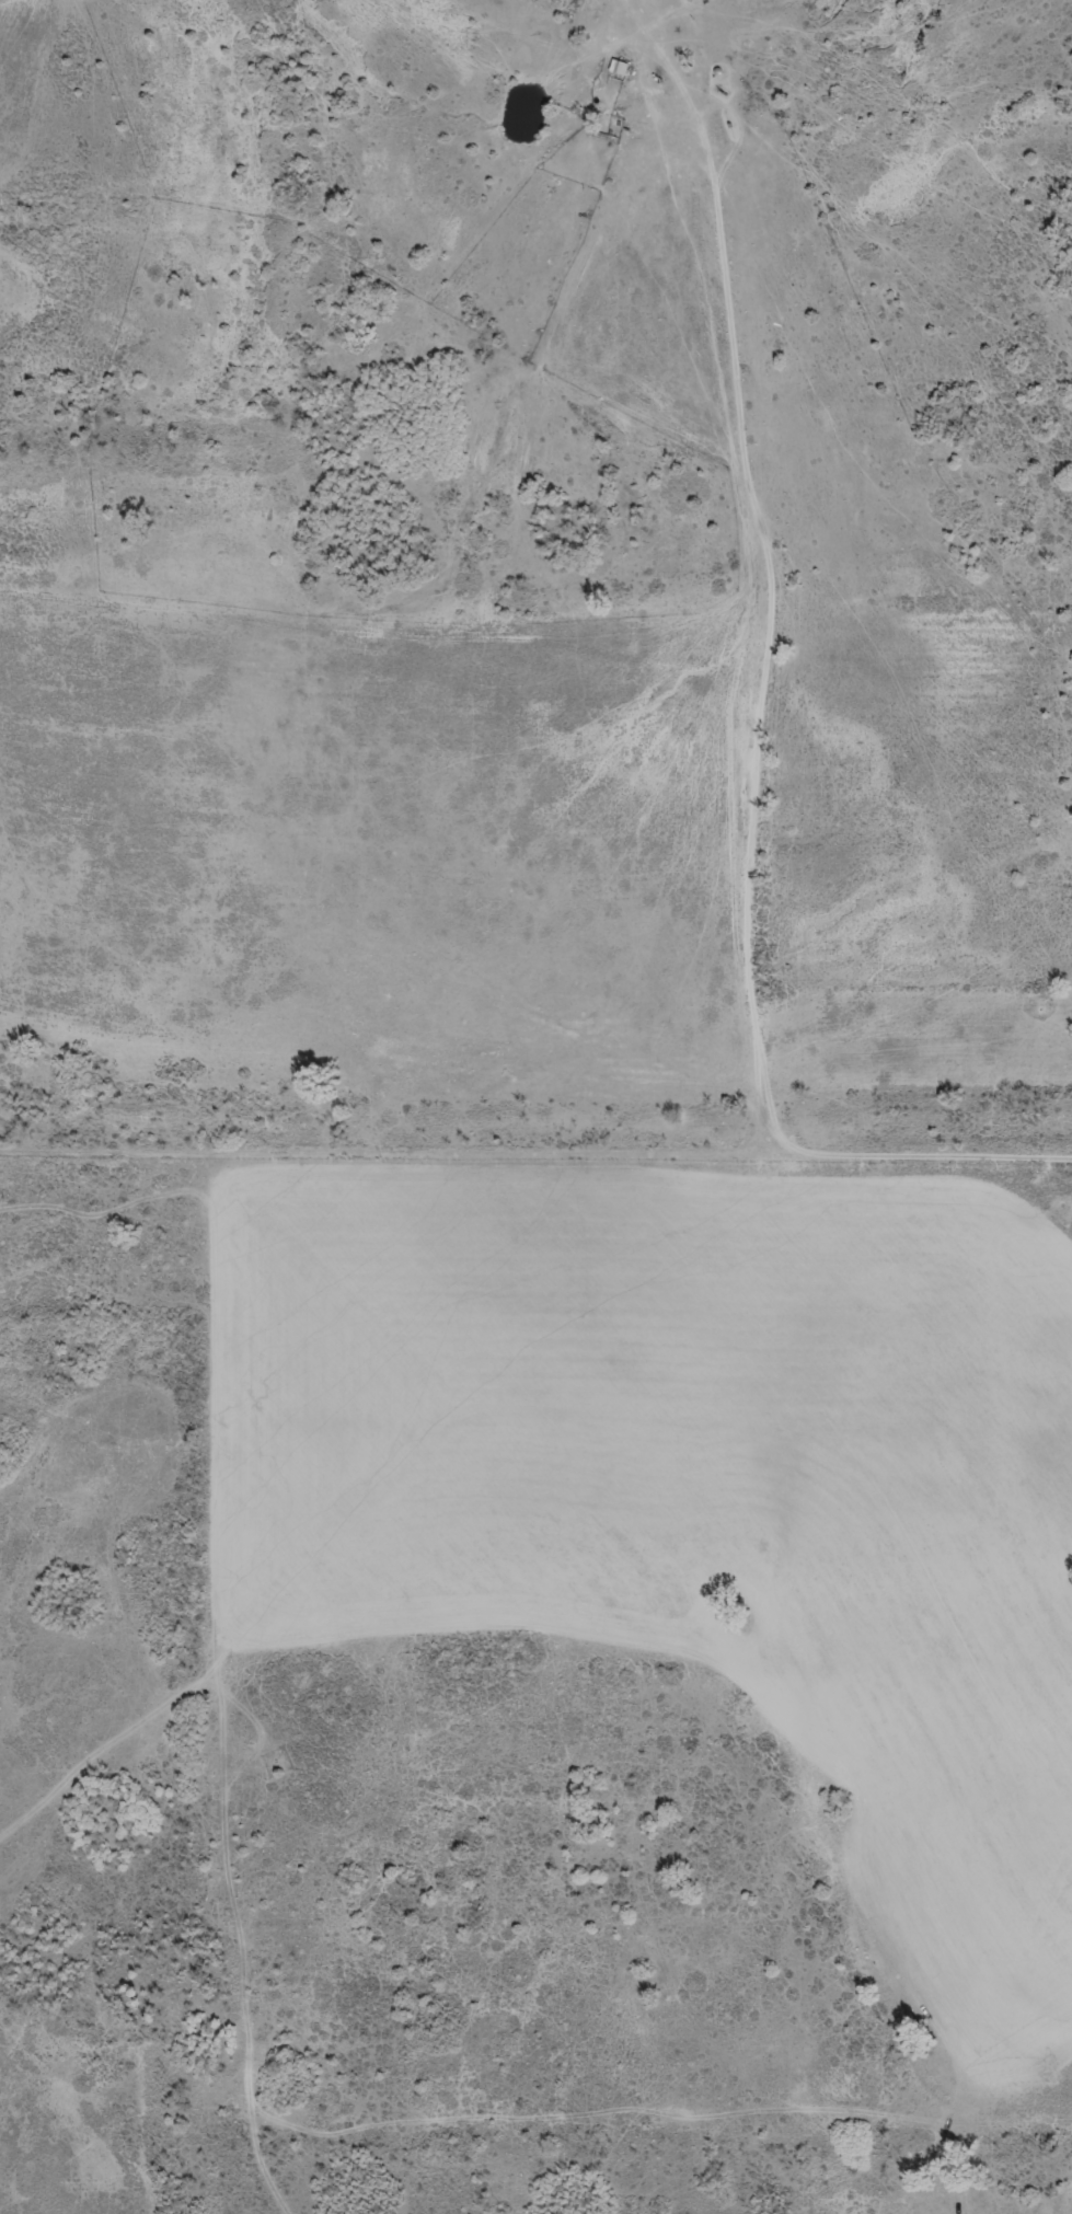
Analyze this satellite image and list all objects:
building: (616, 67)

